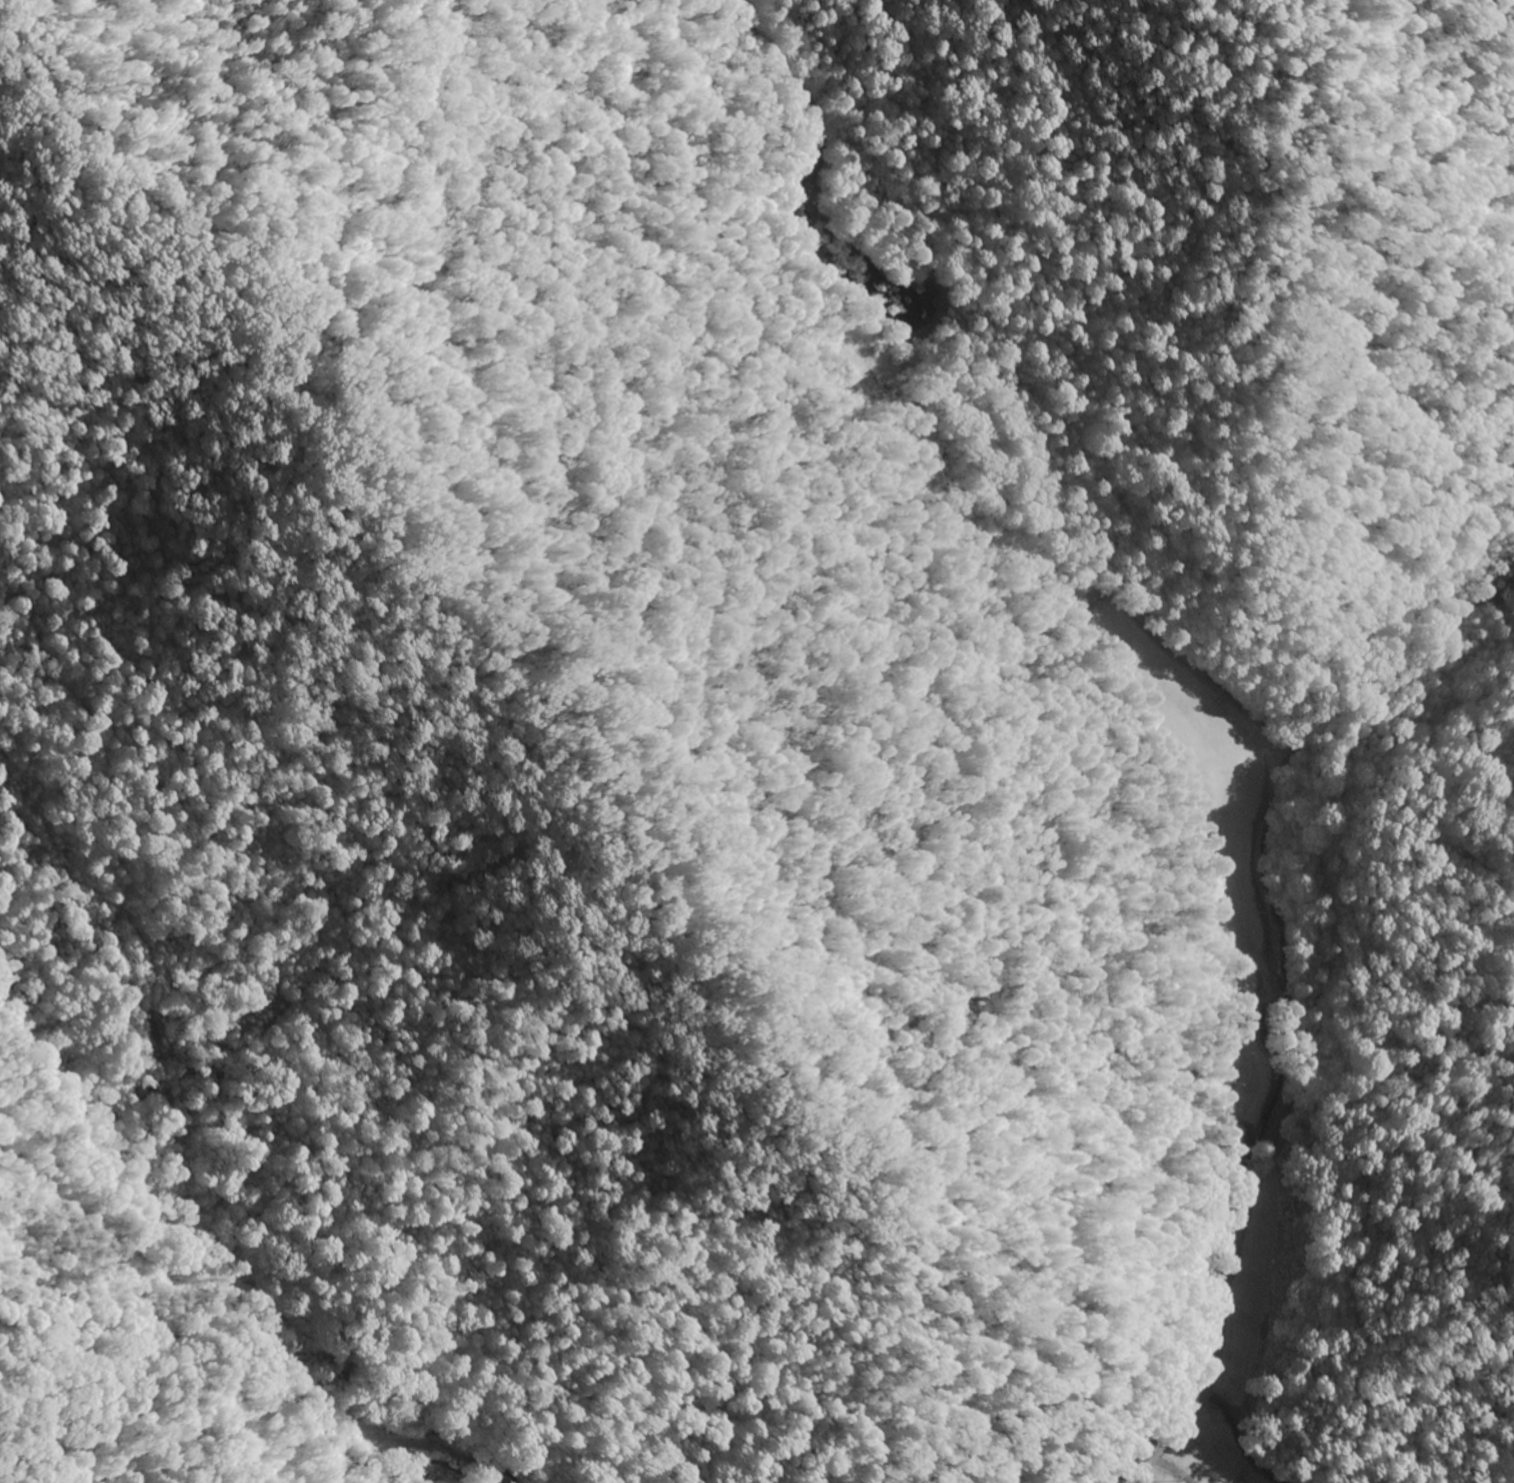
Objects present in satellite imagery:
road: (1291, 1086)

